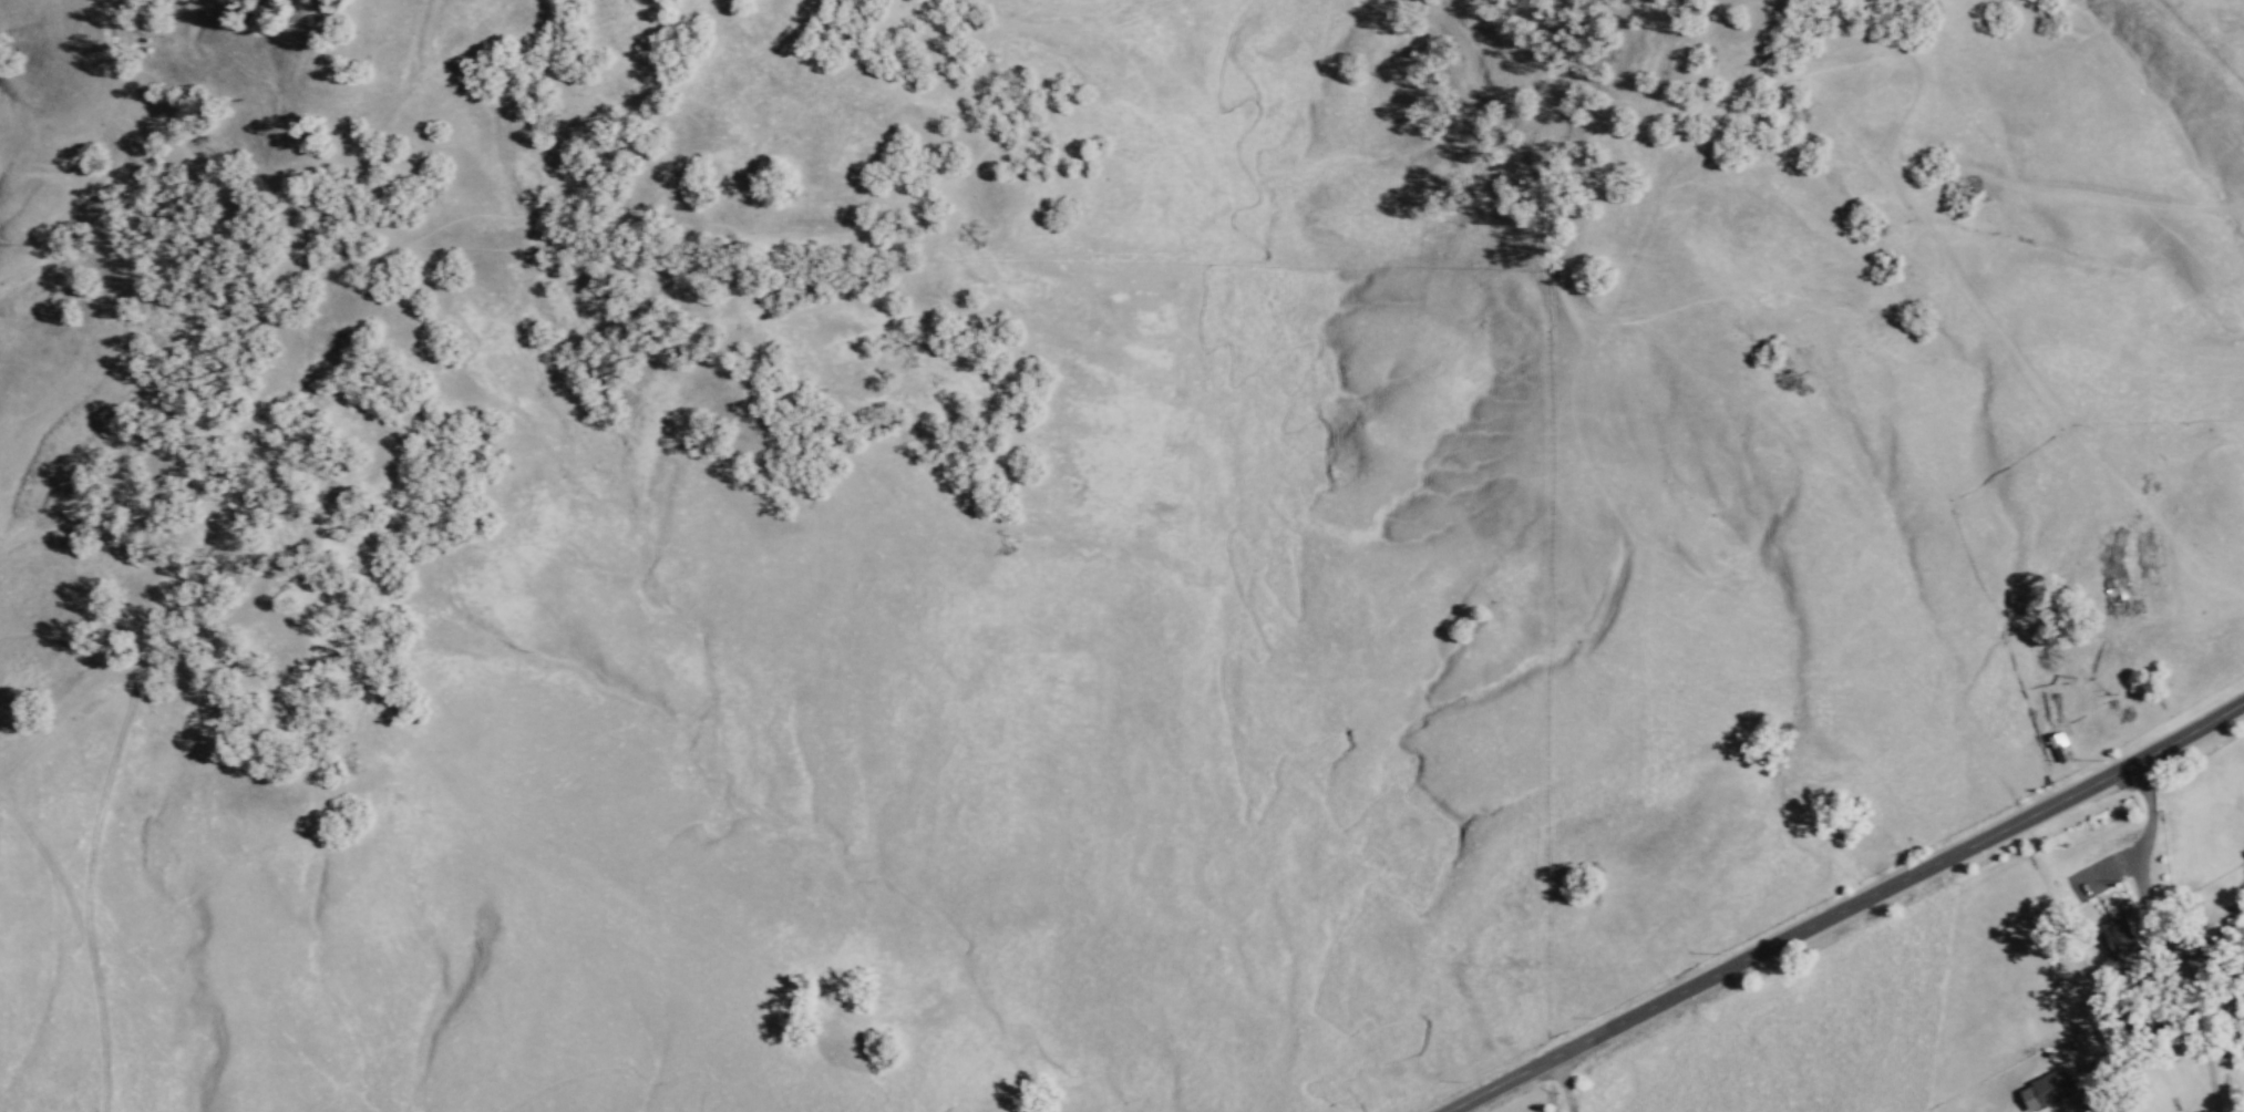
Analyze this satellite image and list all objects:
building: (2058, 747)
road: (1844, 905)
building: (2116, 938)
road: (86, 944)
crop: (1800, 1031)
building: (2046, 1090)

